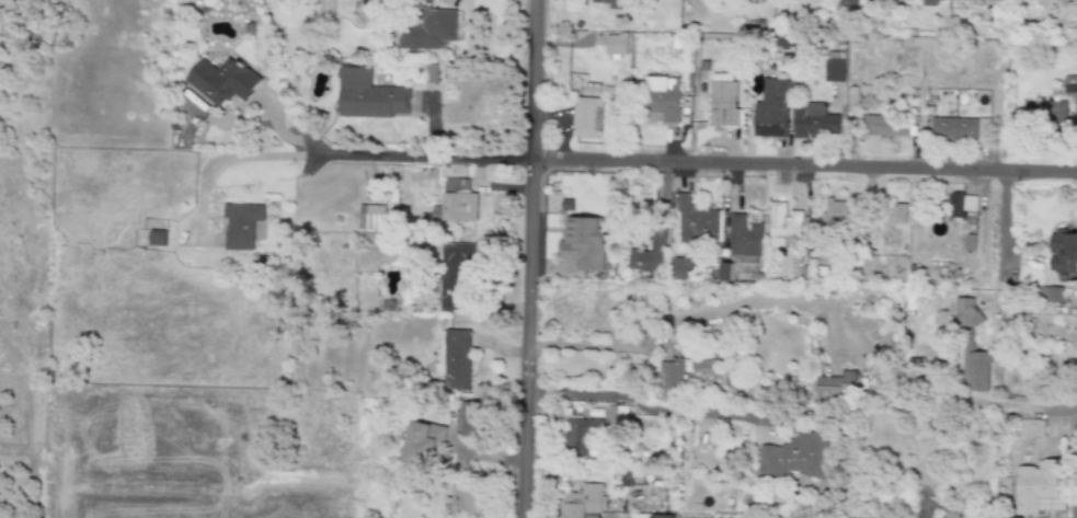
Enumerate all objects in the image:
building: (976, 0)
building: (851, 2)
building: (929, 2)
building: (610, 3)
building: (325, 7)
building: (428, 31)
building: (913, 32)
building: (782, 42)
building: (896, 44)
building: (617, 47)
building: (833, 71)
building: (220, 80)
building: (654, 84)
building: (1070, 84)
building: (593, 88)
building: (368, 96)
building: (721, 97)
building: (663, 106)
building: (772, 110)
building: (586, 117)
building: (1046, 117)
building: (814, 123)
building: (891, 125)
building: (959, 127)
road: (225, 159)
road: (684, 163)
building: (455, 203)
building: (960, 204)
building: (838, 212)
building: (897, 214)
building: (371, 217)
building: (695, 219)
building: (783, 225)
building: (241, 226)
road: (999, 233)
building: (743, 234)
building: (158, 238)
building: (578, 248)
building: (1062, 249)
building: (650, 252)
road: (529, 258)
building: (681, 266)
building: (724, 272)
building: (456, 276)
building: (1052, 296)
road: (698, 315)
building: (969, 315)
building: (456, 360)
building: (703, 361)
building: (976, 370)
building: (848, 376)
building: (668, 378)
building: (827, 382)
road: (648, 406)
road: (1038, 407)
building: (617, 414)
building: (471, 418)
building: (582, 436)
building: (422, 442)
building: (792, 457)
building: (1041, 482)
building: (465, 500)
building: (585, 504)
building: (639, 515)

